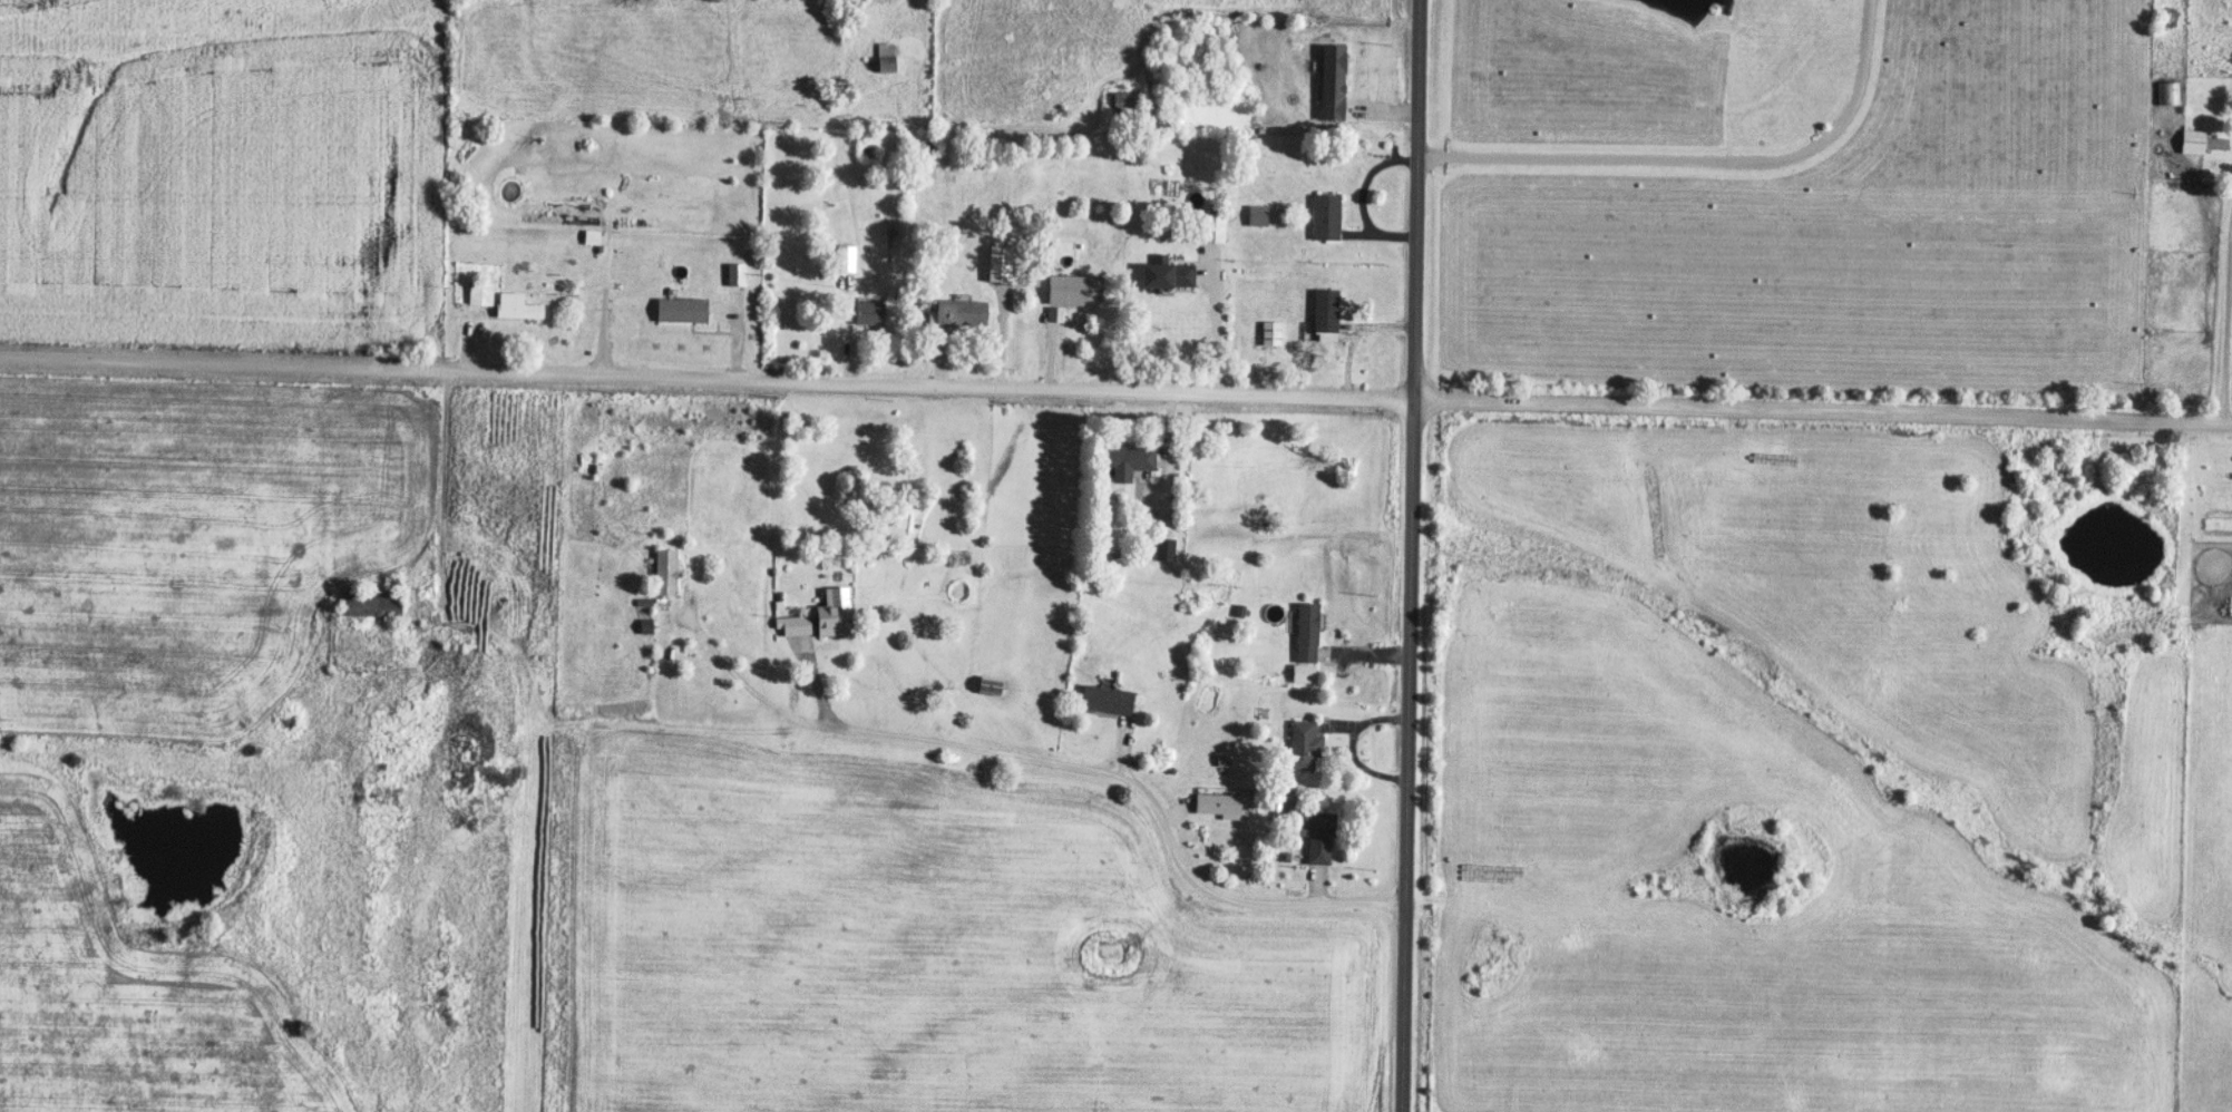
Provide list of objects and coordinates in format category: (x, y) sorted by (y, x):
building: (914, 47)
building: (884, 58)
building: (2168, 91)
building: (1125, 100)
building: (2199, 140)
road: (1704, 166)
building: (1256, 214)
building: (1324, 216)
building: (1211, 227)
building: (1163, 273)
building: (1072, 287)
building: (479, 292)
building: (514, 305)
building: (679, 309)
building: (866, 311)
building: (955, 311)
building: (1323, 314)
road: (1217, 332)
road: (2228, 336)
road: (706, 383)
road: (1822, 413)
building: (1122, 459)
road: (1410, 556)
building: (663, 570)
building: (368, 603)
building: (815, 621)
building: (1304, 632)
building: (987, 683)
building: (1103, 699)
building: (1303, 744)
road: (1052, 761)
building: (1317, 836)

